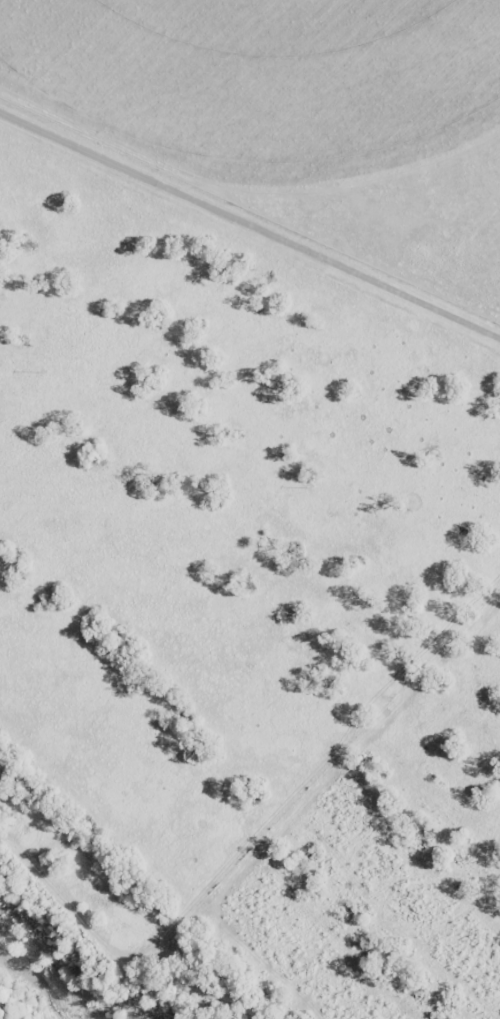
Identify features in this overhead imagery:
road: (250, 292)
river: (27, 991)

